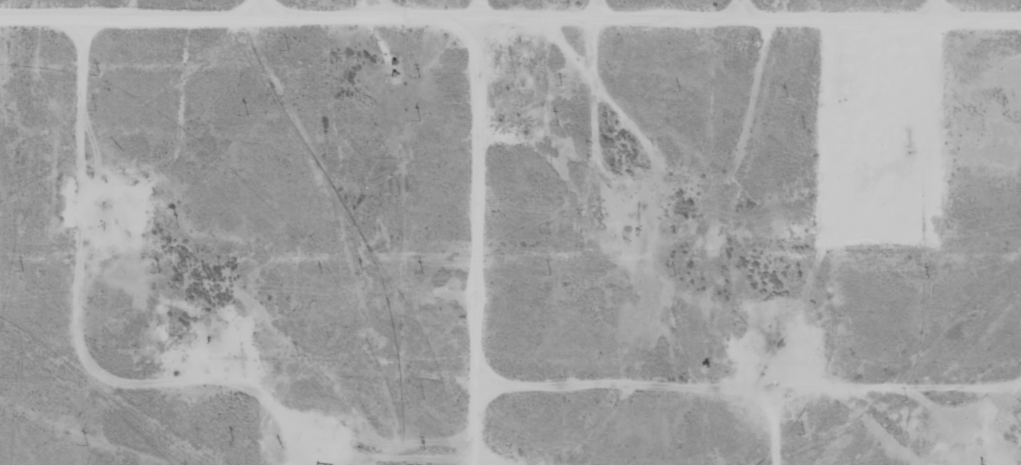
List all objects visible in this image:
road: (745, 4)
road: (274, 7)
road: (510, 21)
road: (471, 244)
road: (646, 359)

